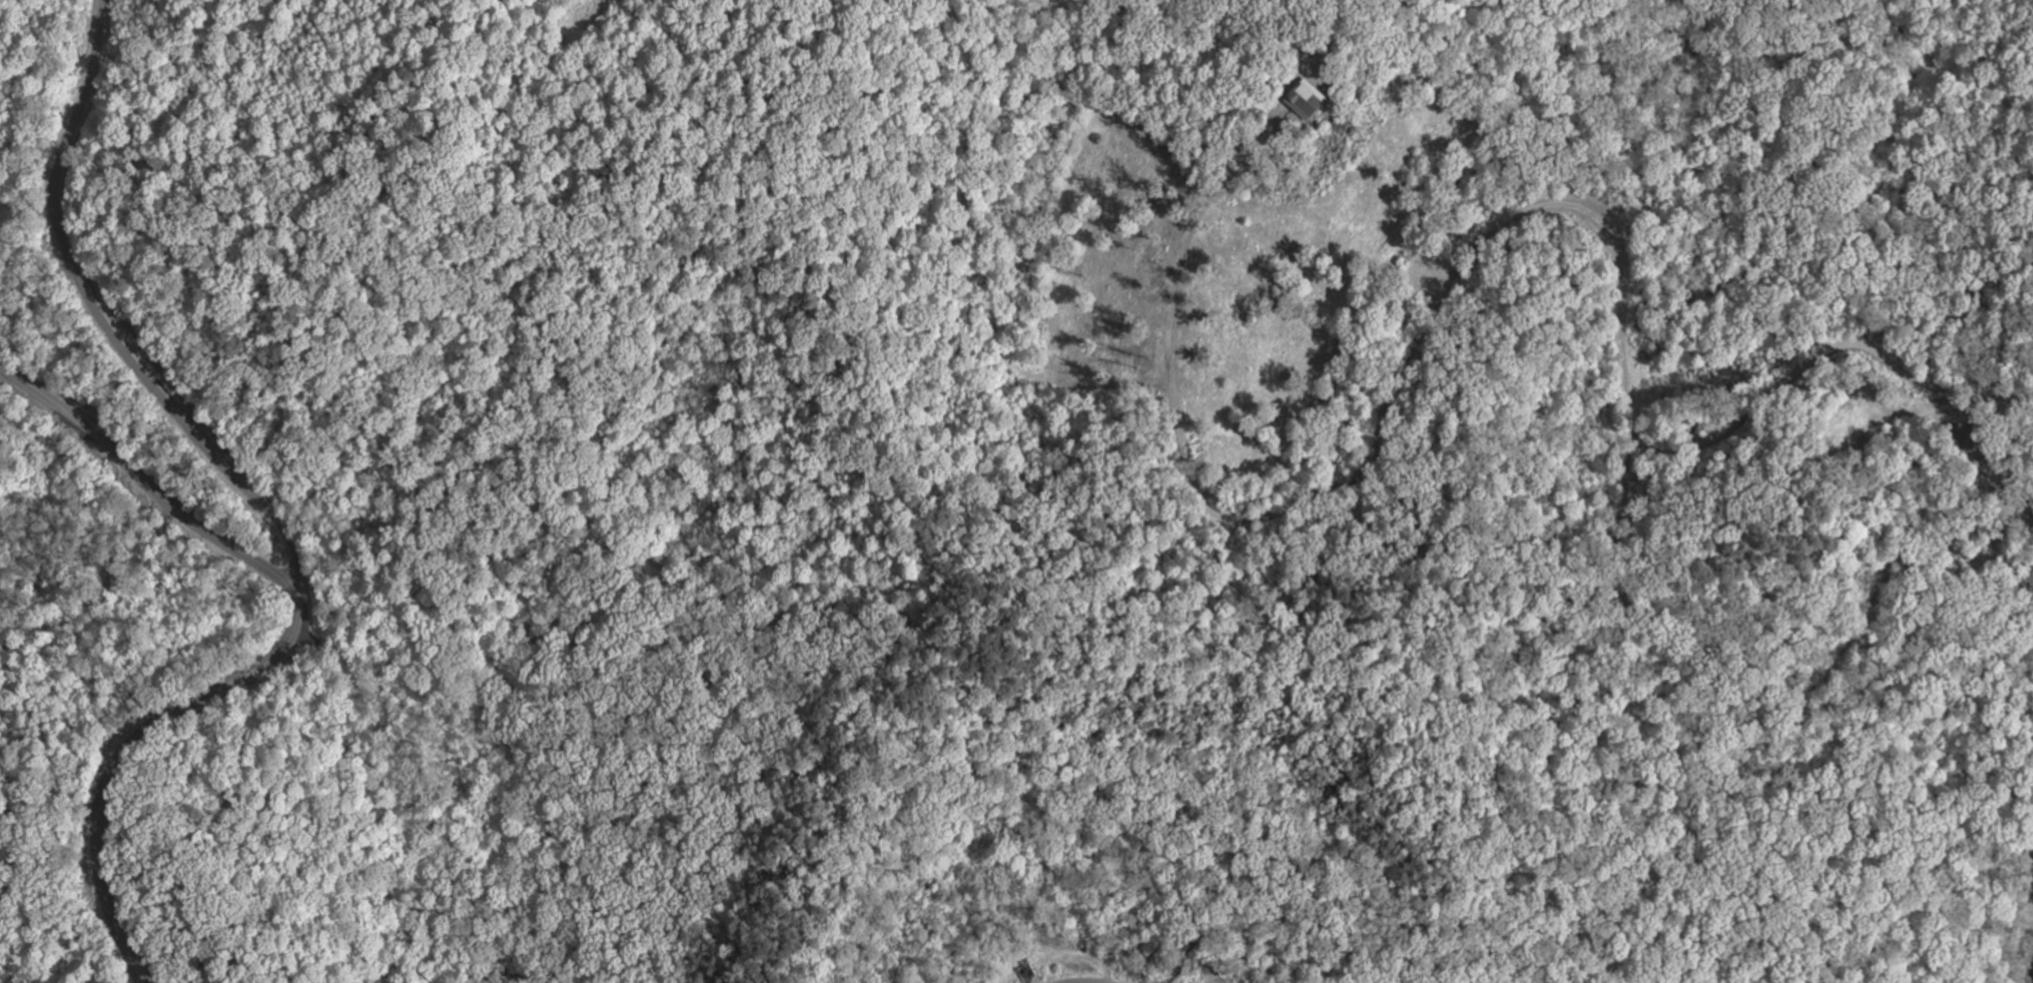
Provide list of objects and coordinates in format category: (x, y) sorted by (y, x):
building: (1301, 100)
road: (74, 128)
road: (35, 257)
road: (1619, 278)
road: (186, 425)
road: (142, 480)
road: (1737, 745)
road: (128, 750)

